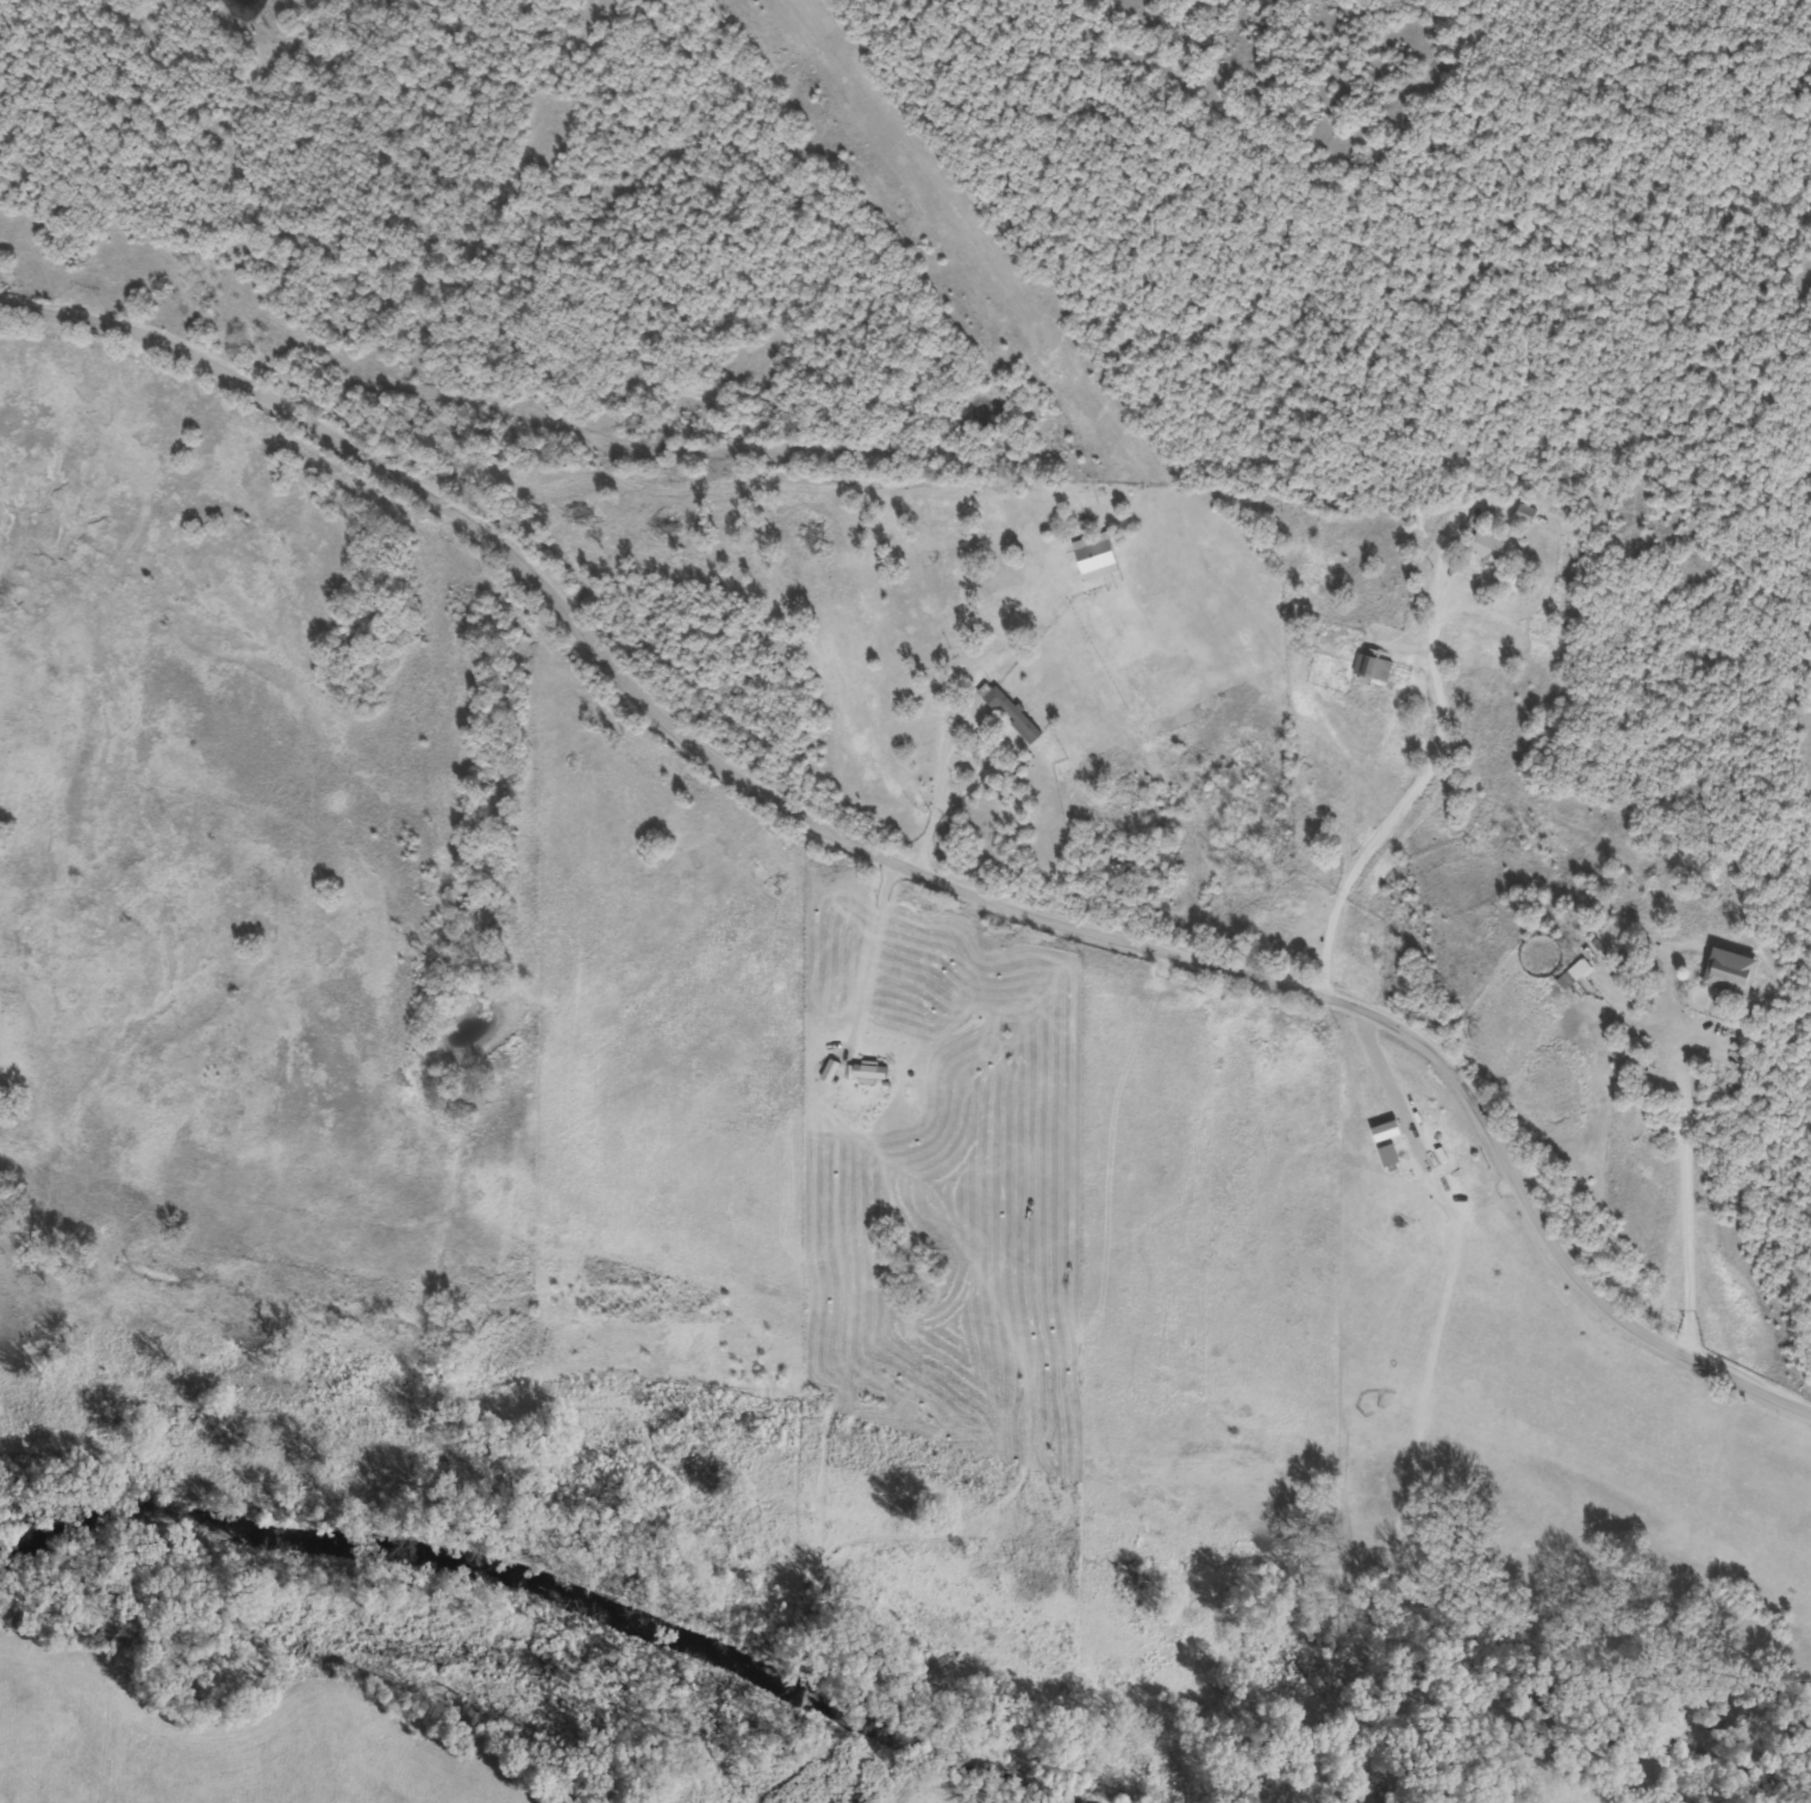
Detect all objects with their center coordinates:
building: (1485, 548)
building: (1367, 667)
building: (1006, 711)
road: (1415, 800)
road: (912, 875)
building: (1723, 971)
building: (1569, 974)
road: (1688, 1205)

